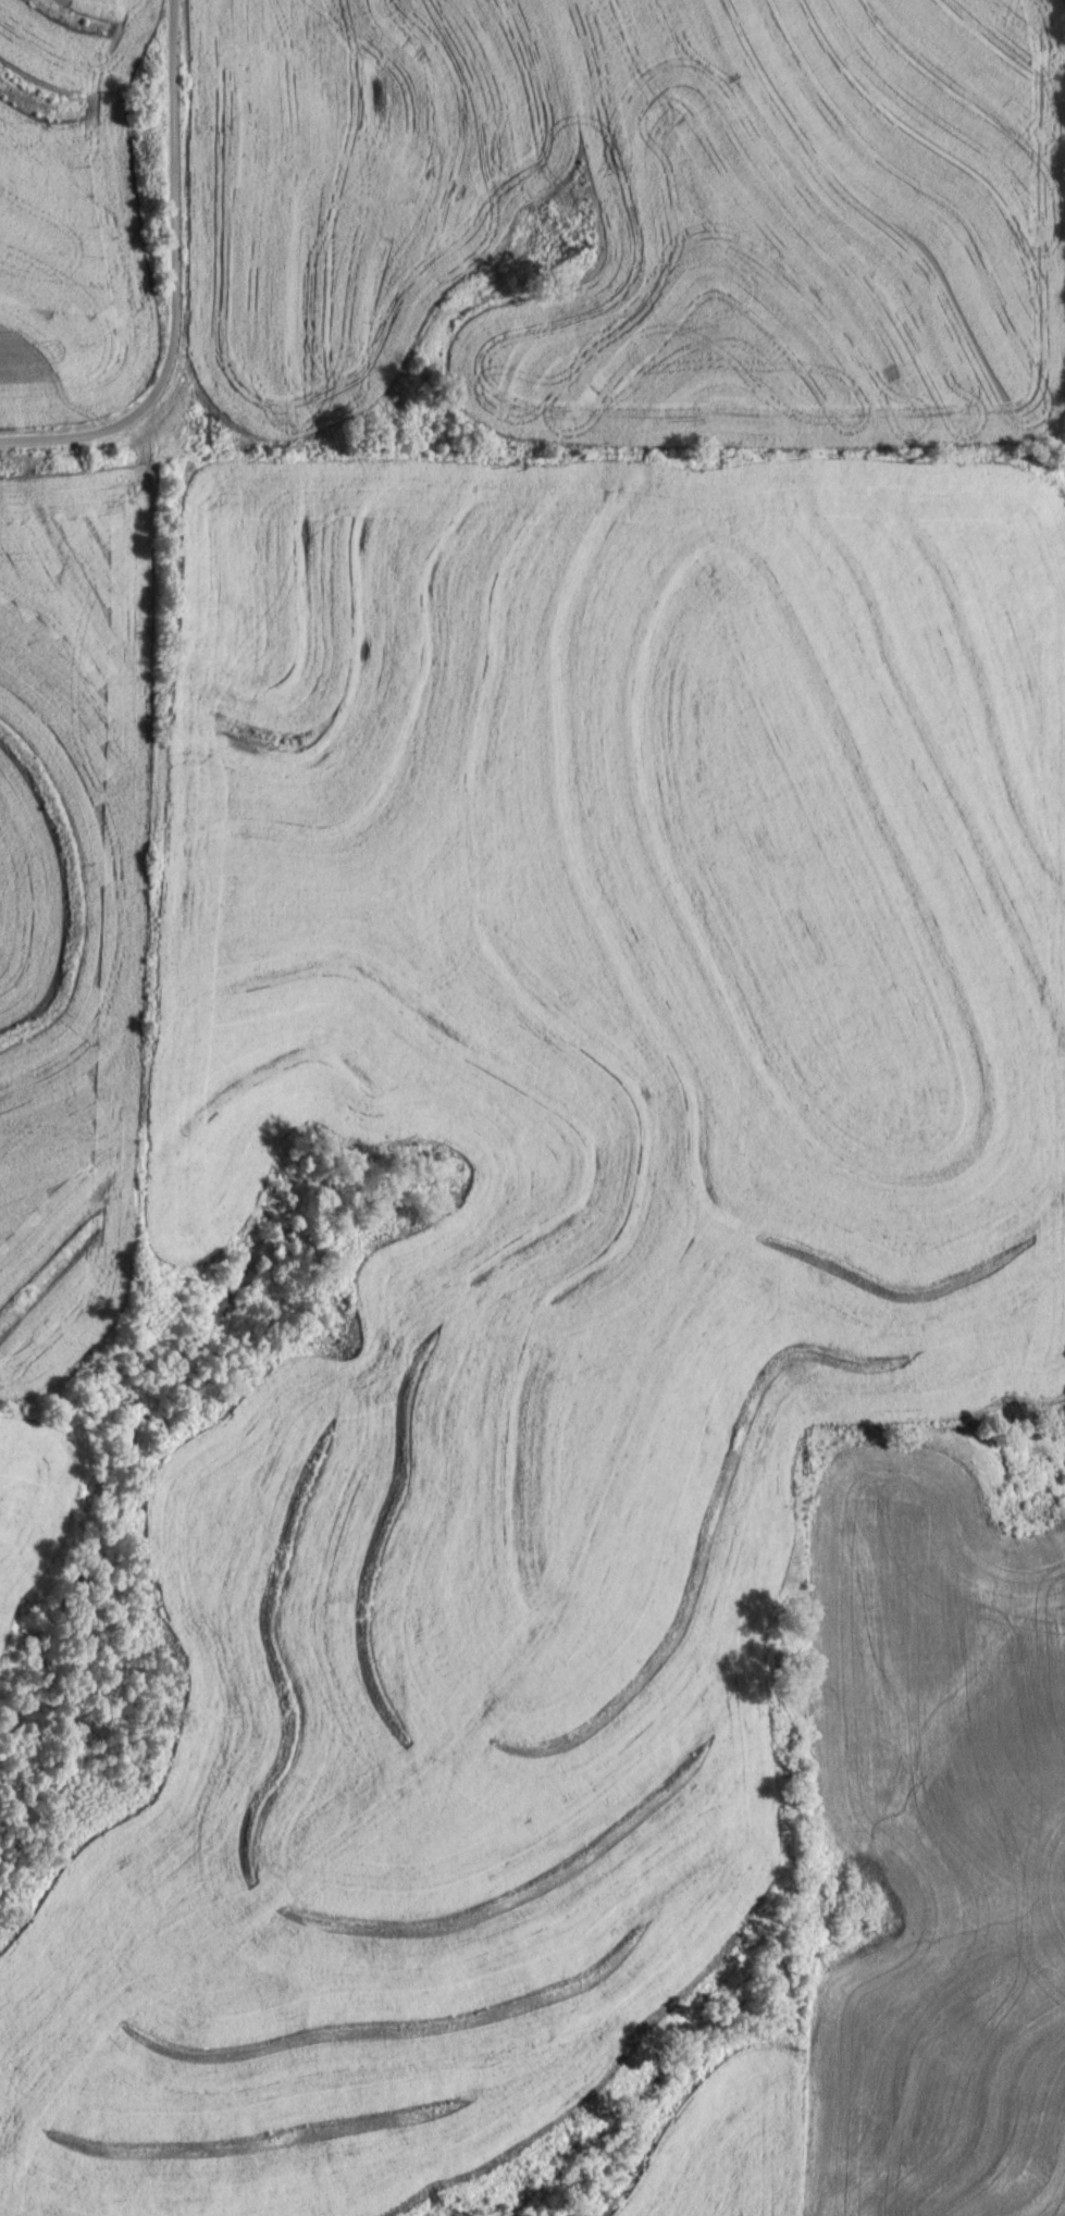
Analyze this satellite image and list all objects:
road: (171, 281)

